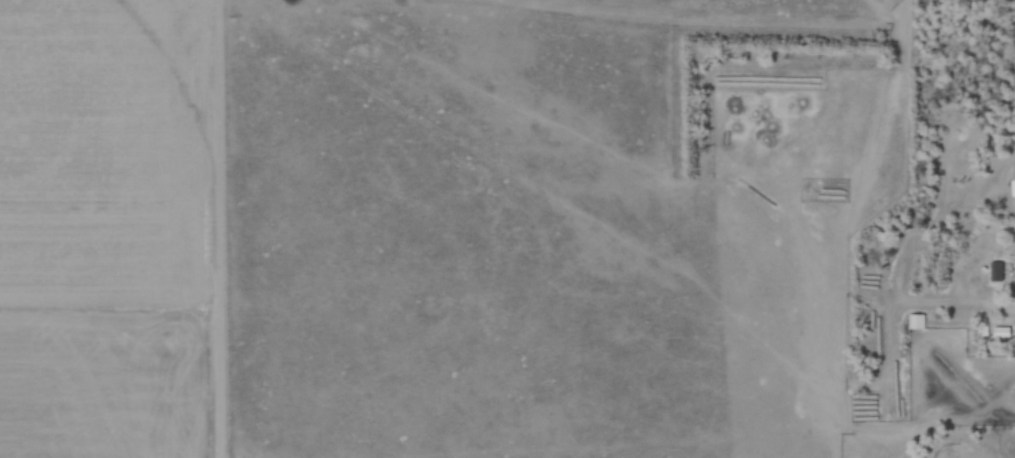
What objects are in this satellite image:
building: (1012, 182)
building: (996, 273)
road: (1014, 306)

